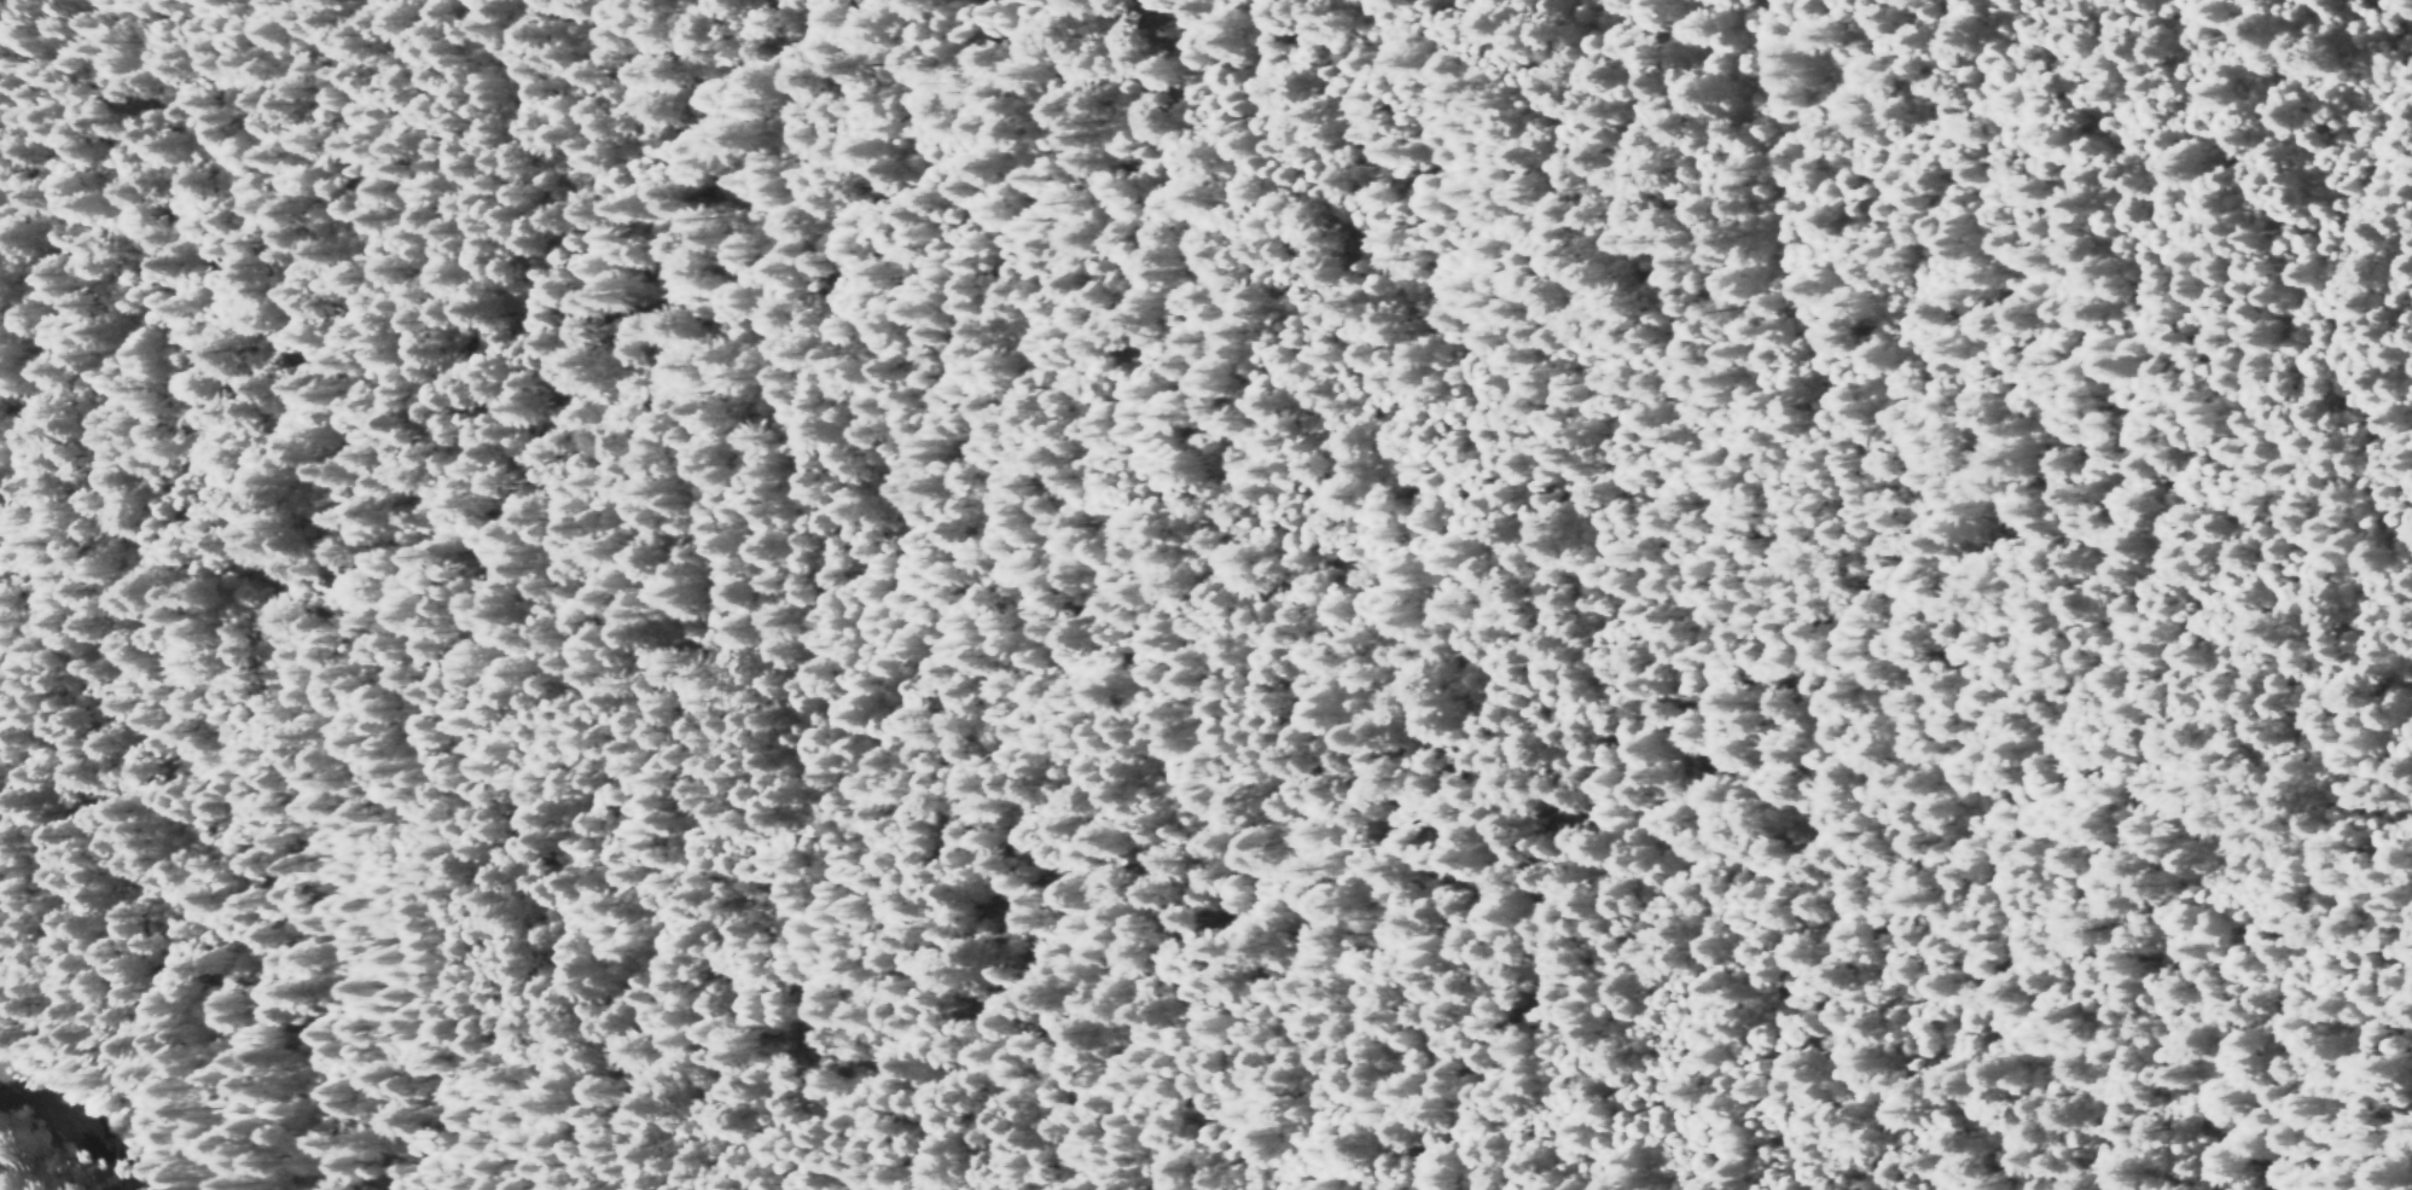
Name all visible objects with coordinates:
river: (87, 1115)

